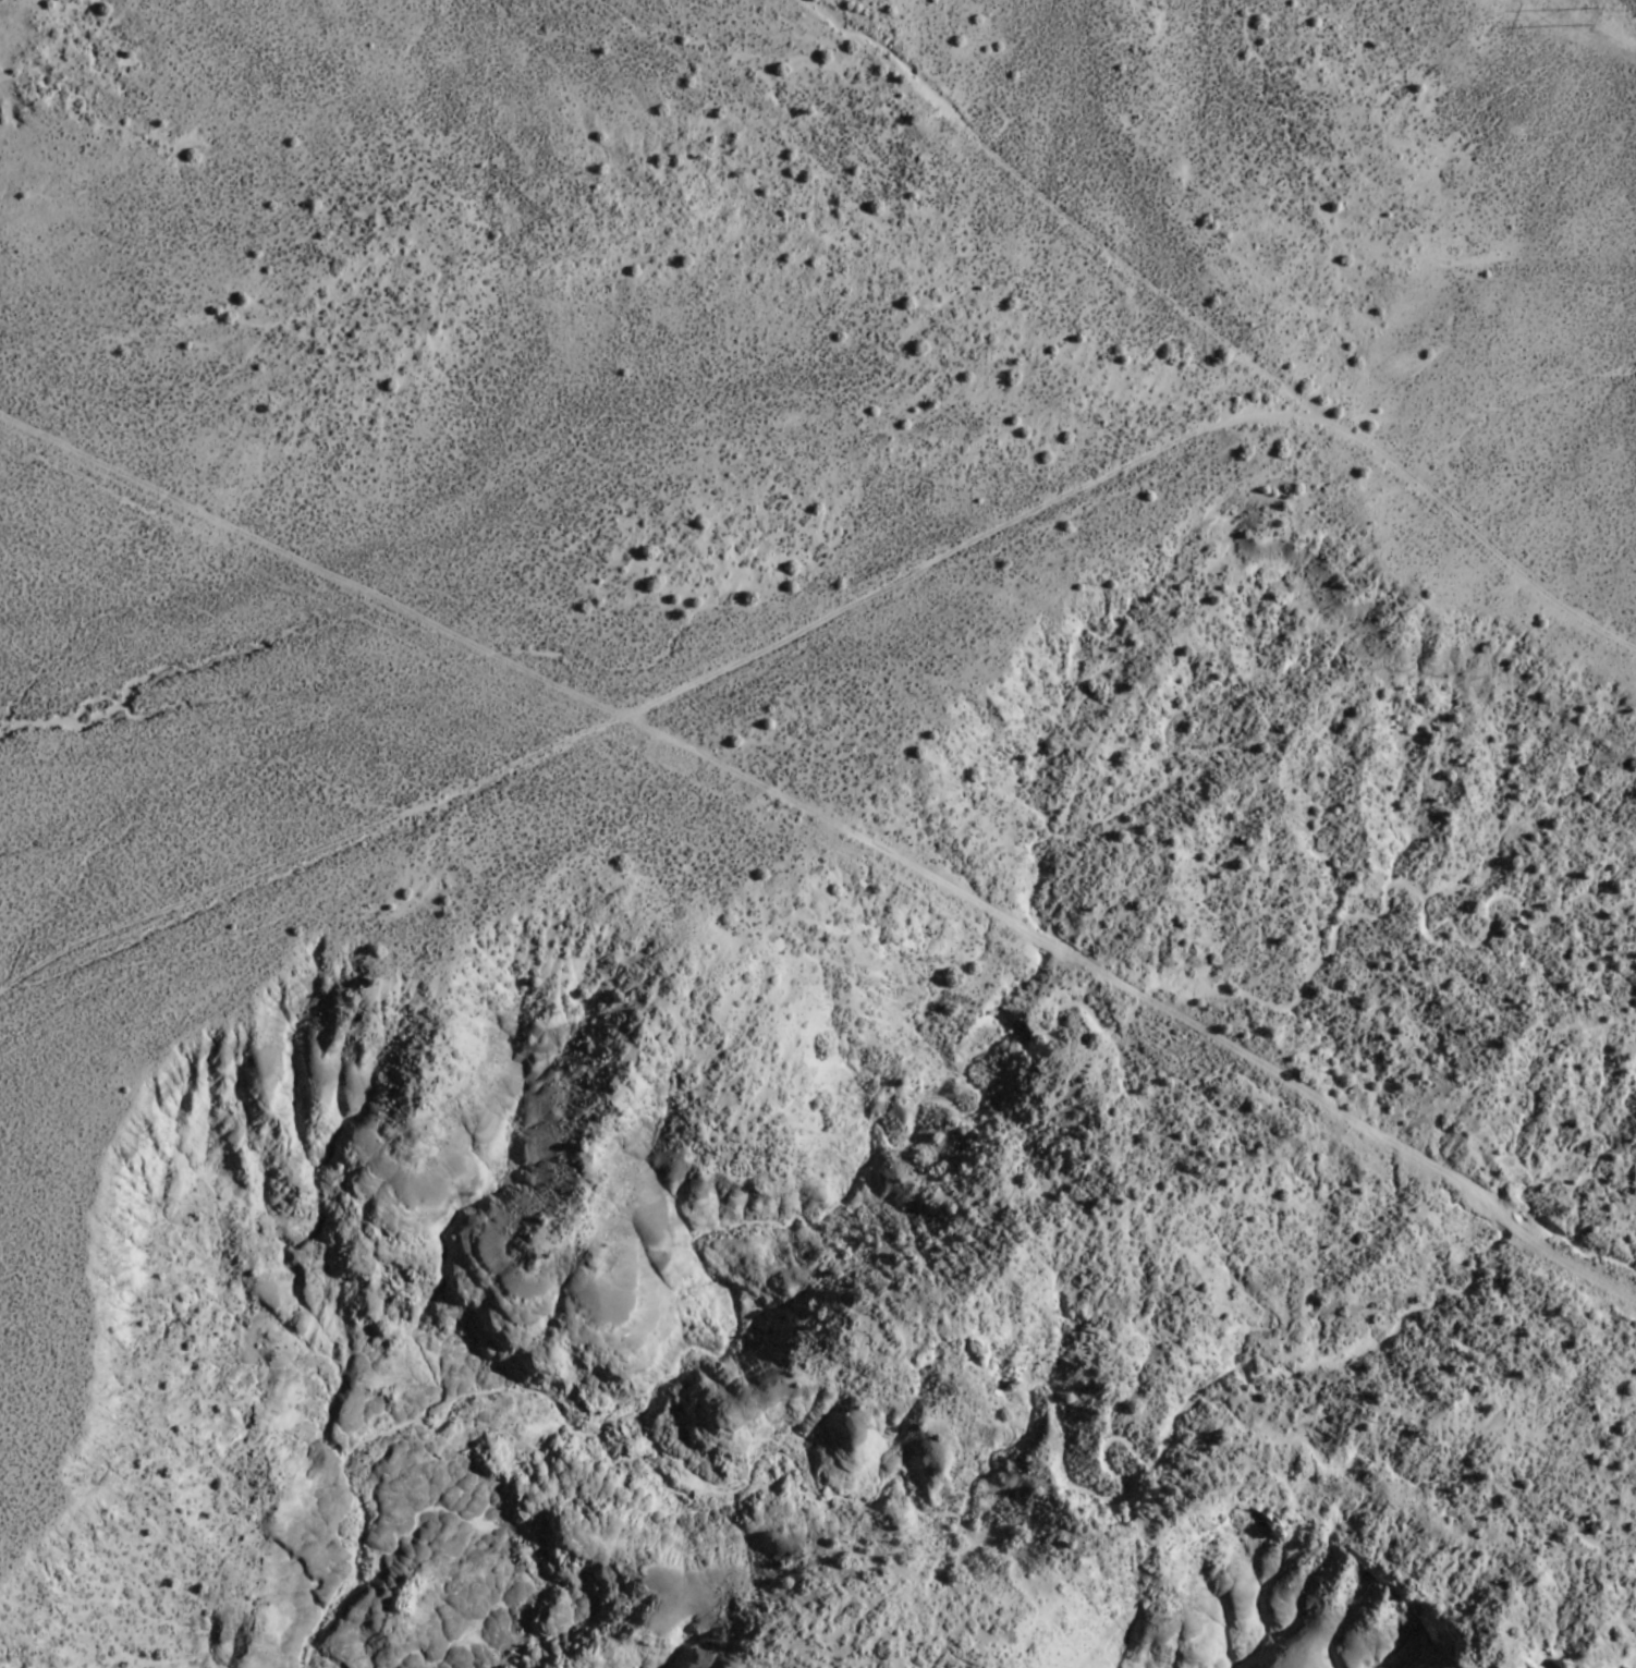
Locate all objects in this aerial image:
power tower: (1578, 13)
road: (1046, 190)
road: (827, 601)

